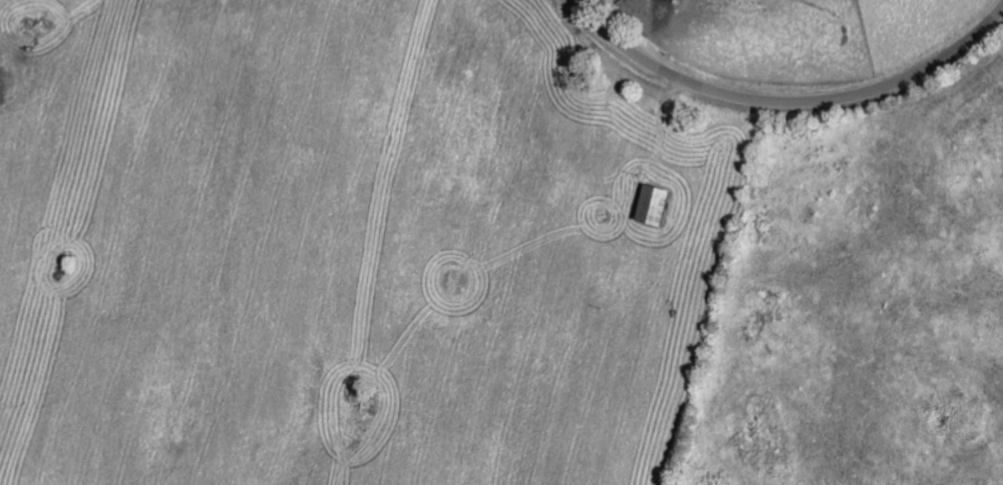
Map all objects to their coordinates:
road: (785, 100)
building: (652, 203)

